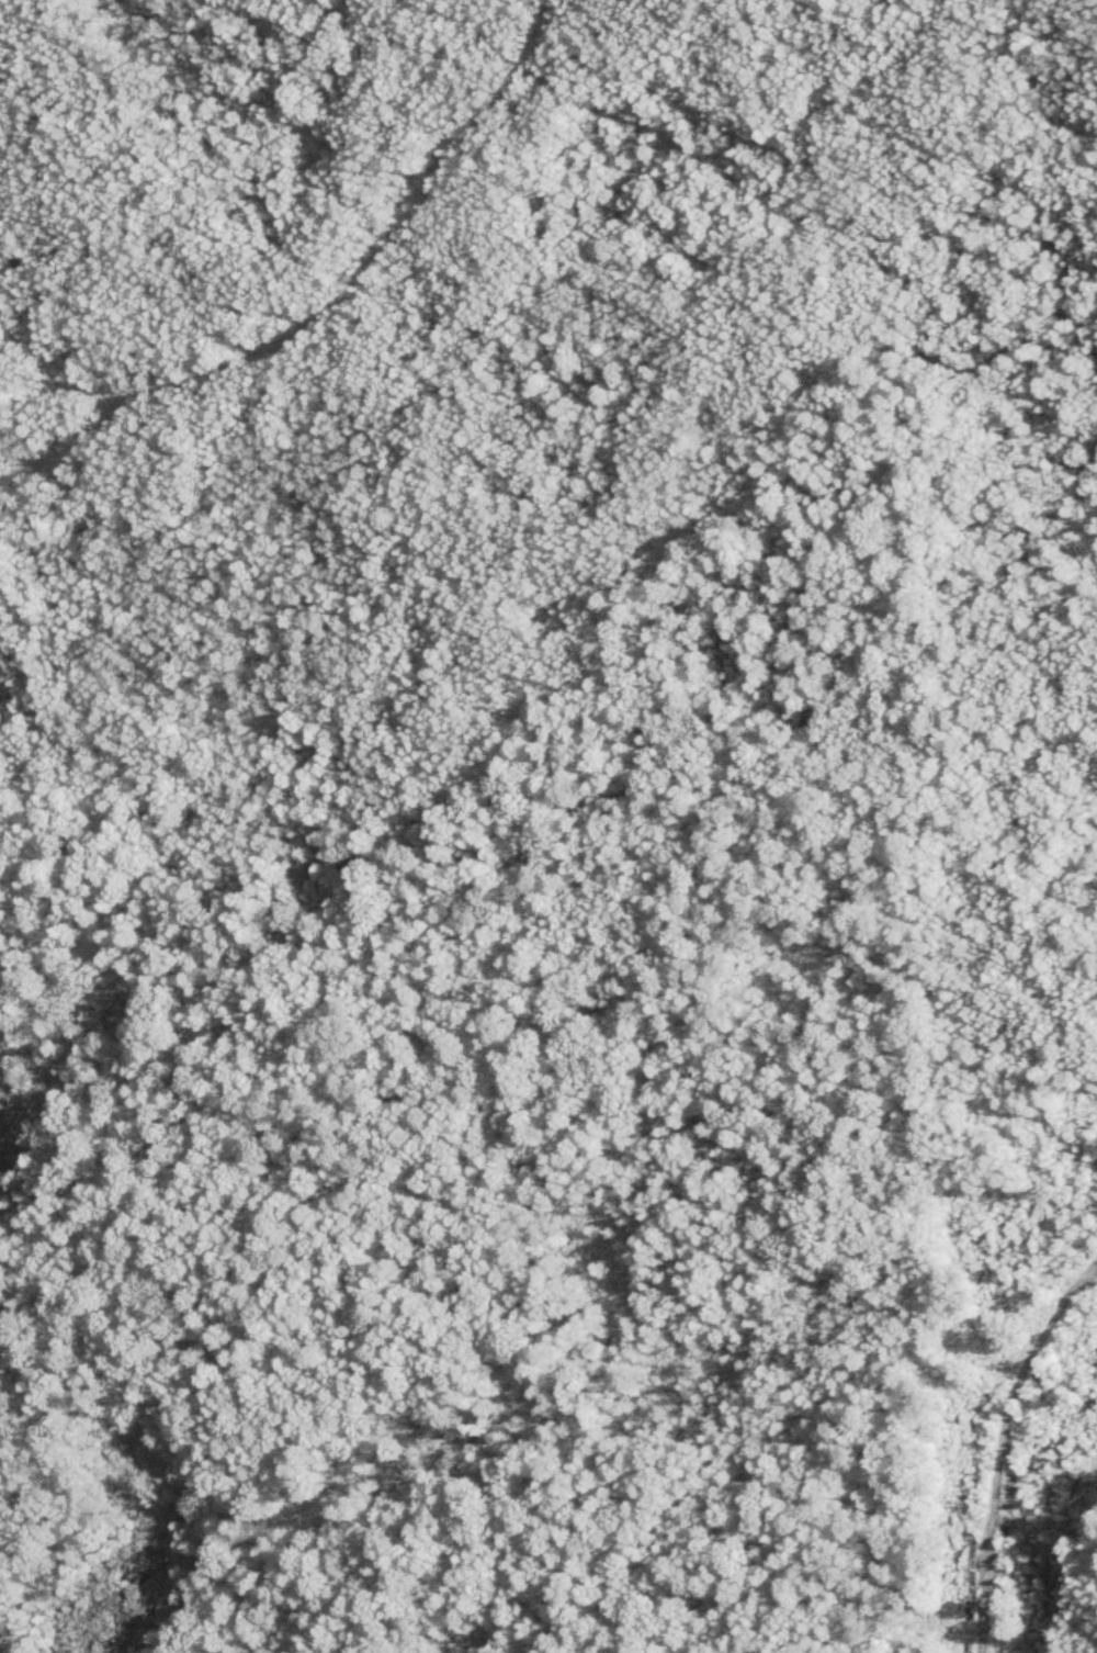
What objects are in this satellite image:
road: (1008, 1450)

